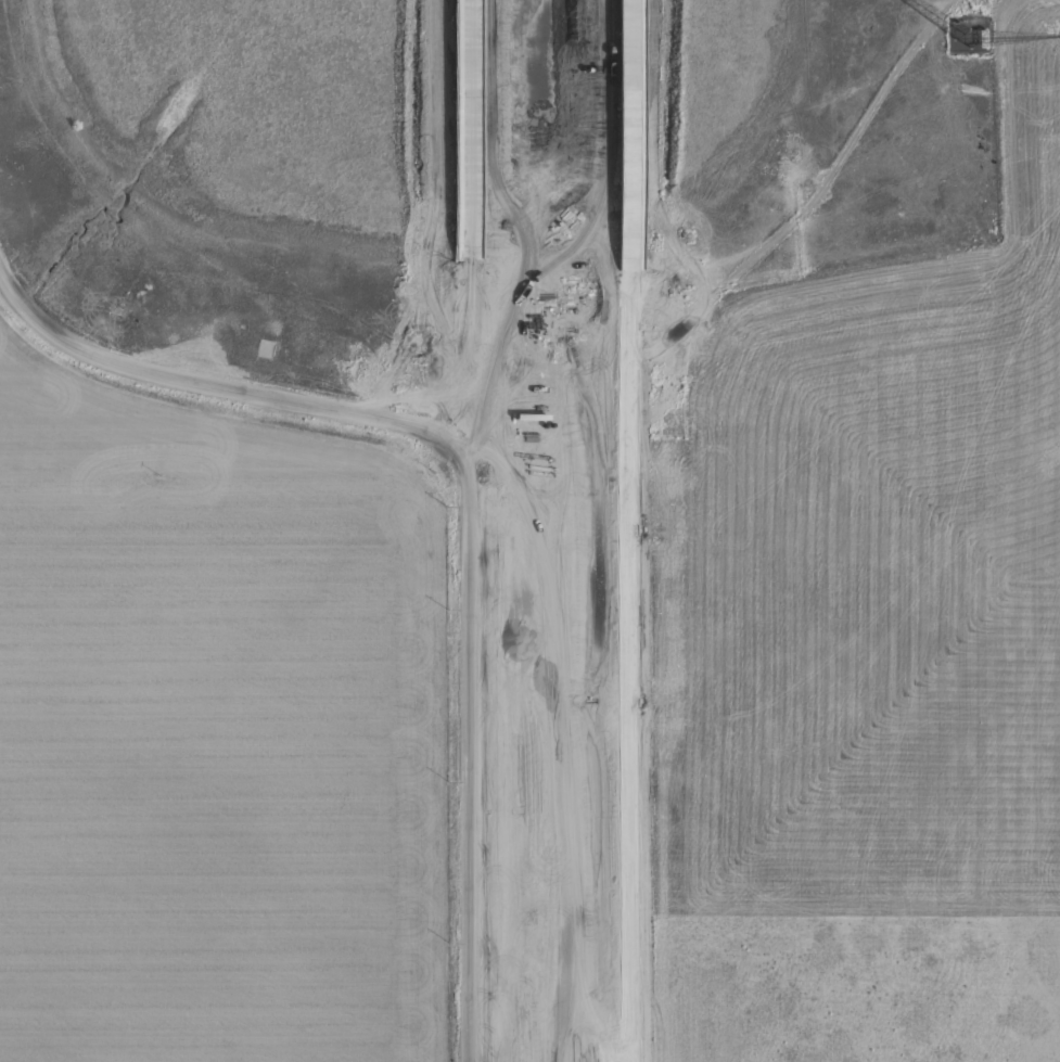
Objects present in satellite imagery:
road: (465, 240)
road: (229, 383)
road: (630, 530)
road: (469, 770)

